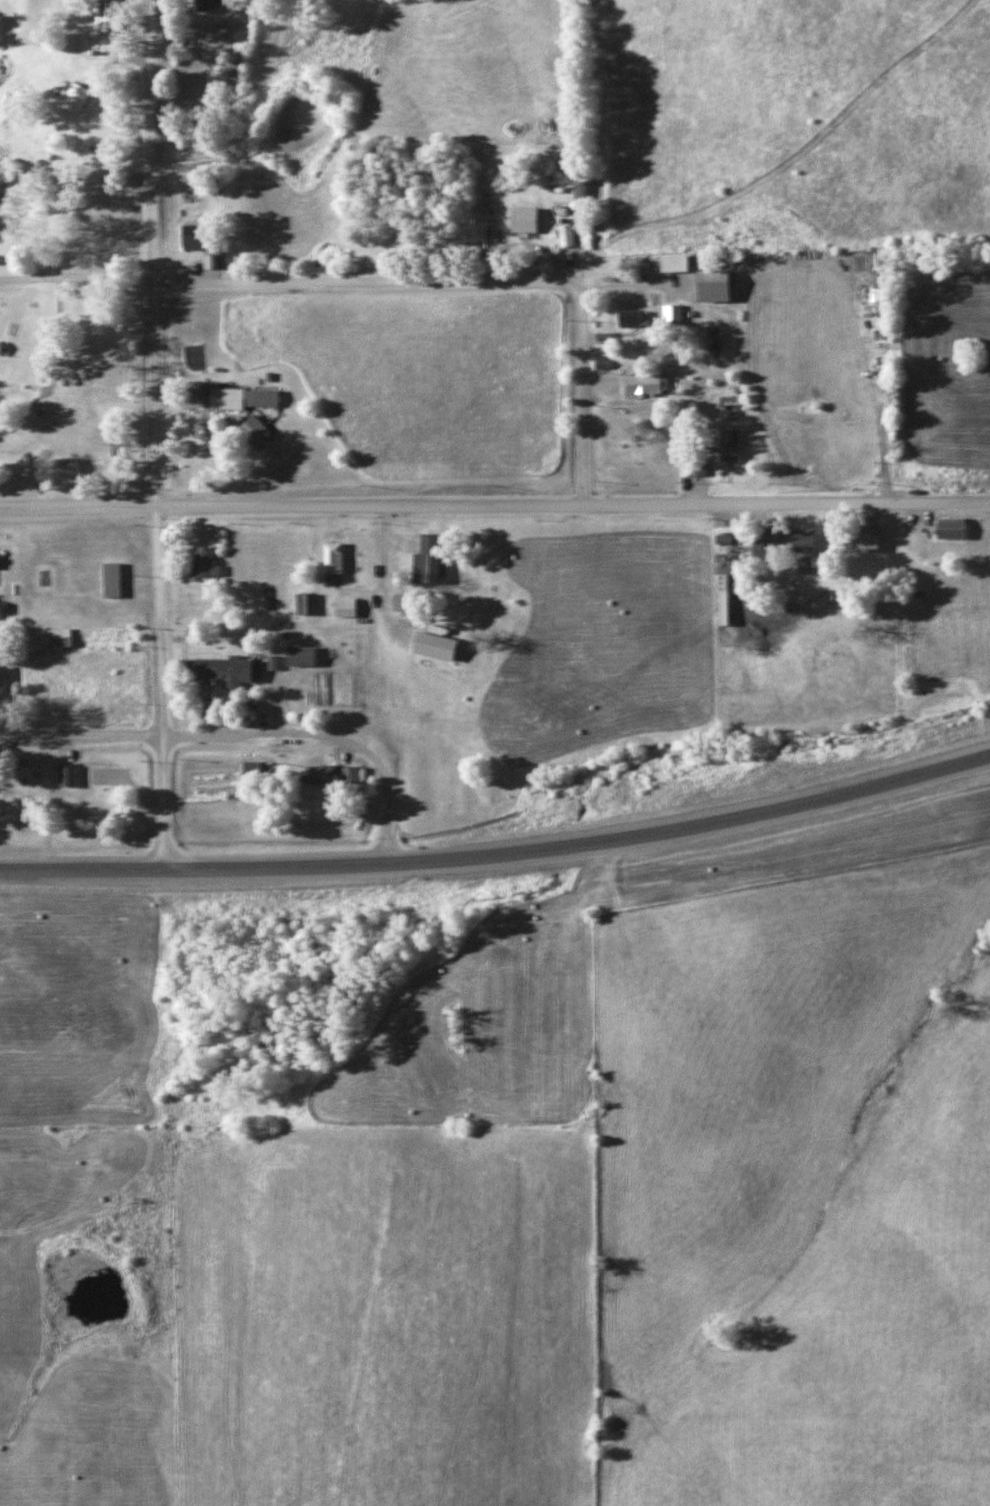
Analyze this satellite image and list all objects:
building: (112, 13)
building: (81, 95)
building: (578, 185)
building: (565, 231)
building: (671, 263)
road: (287, 280)
building: (670, 315)
building: (630, 318)
building: (638, 383)
road: (583, 393)
building: (249, 396)
building: (264, 426)
road: (162, 434)
building: (729, 442)
building: (684, 466)
road: (495, 503)
building: (946, 527)
building: (792, 541)
building: (859, 541)
building: (759, 545)
building: (328, 558)
building: (423, 558)
building: (207, 559)
building: (116, 579)
building: (342, 608)
building: (65, 636)
building: (456, 647)
building: (295, 656)
building: (223, 669)
building: (1, 680)
road: (161, 735)
building: (248, 768)
building: (315, 775)
building: (346, 775)
road: (385, 779)
road: (500, 855)
crop: (384, 1315)

